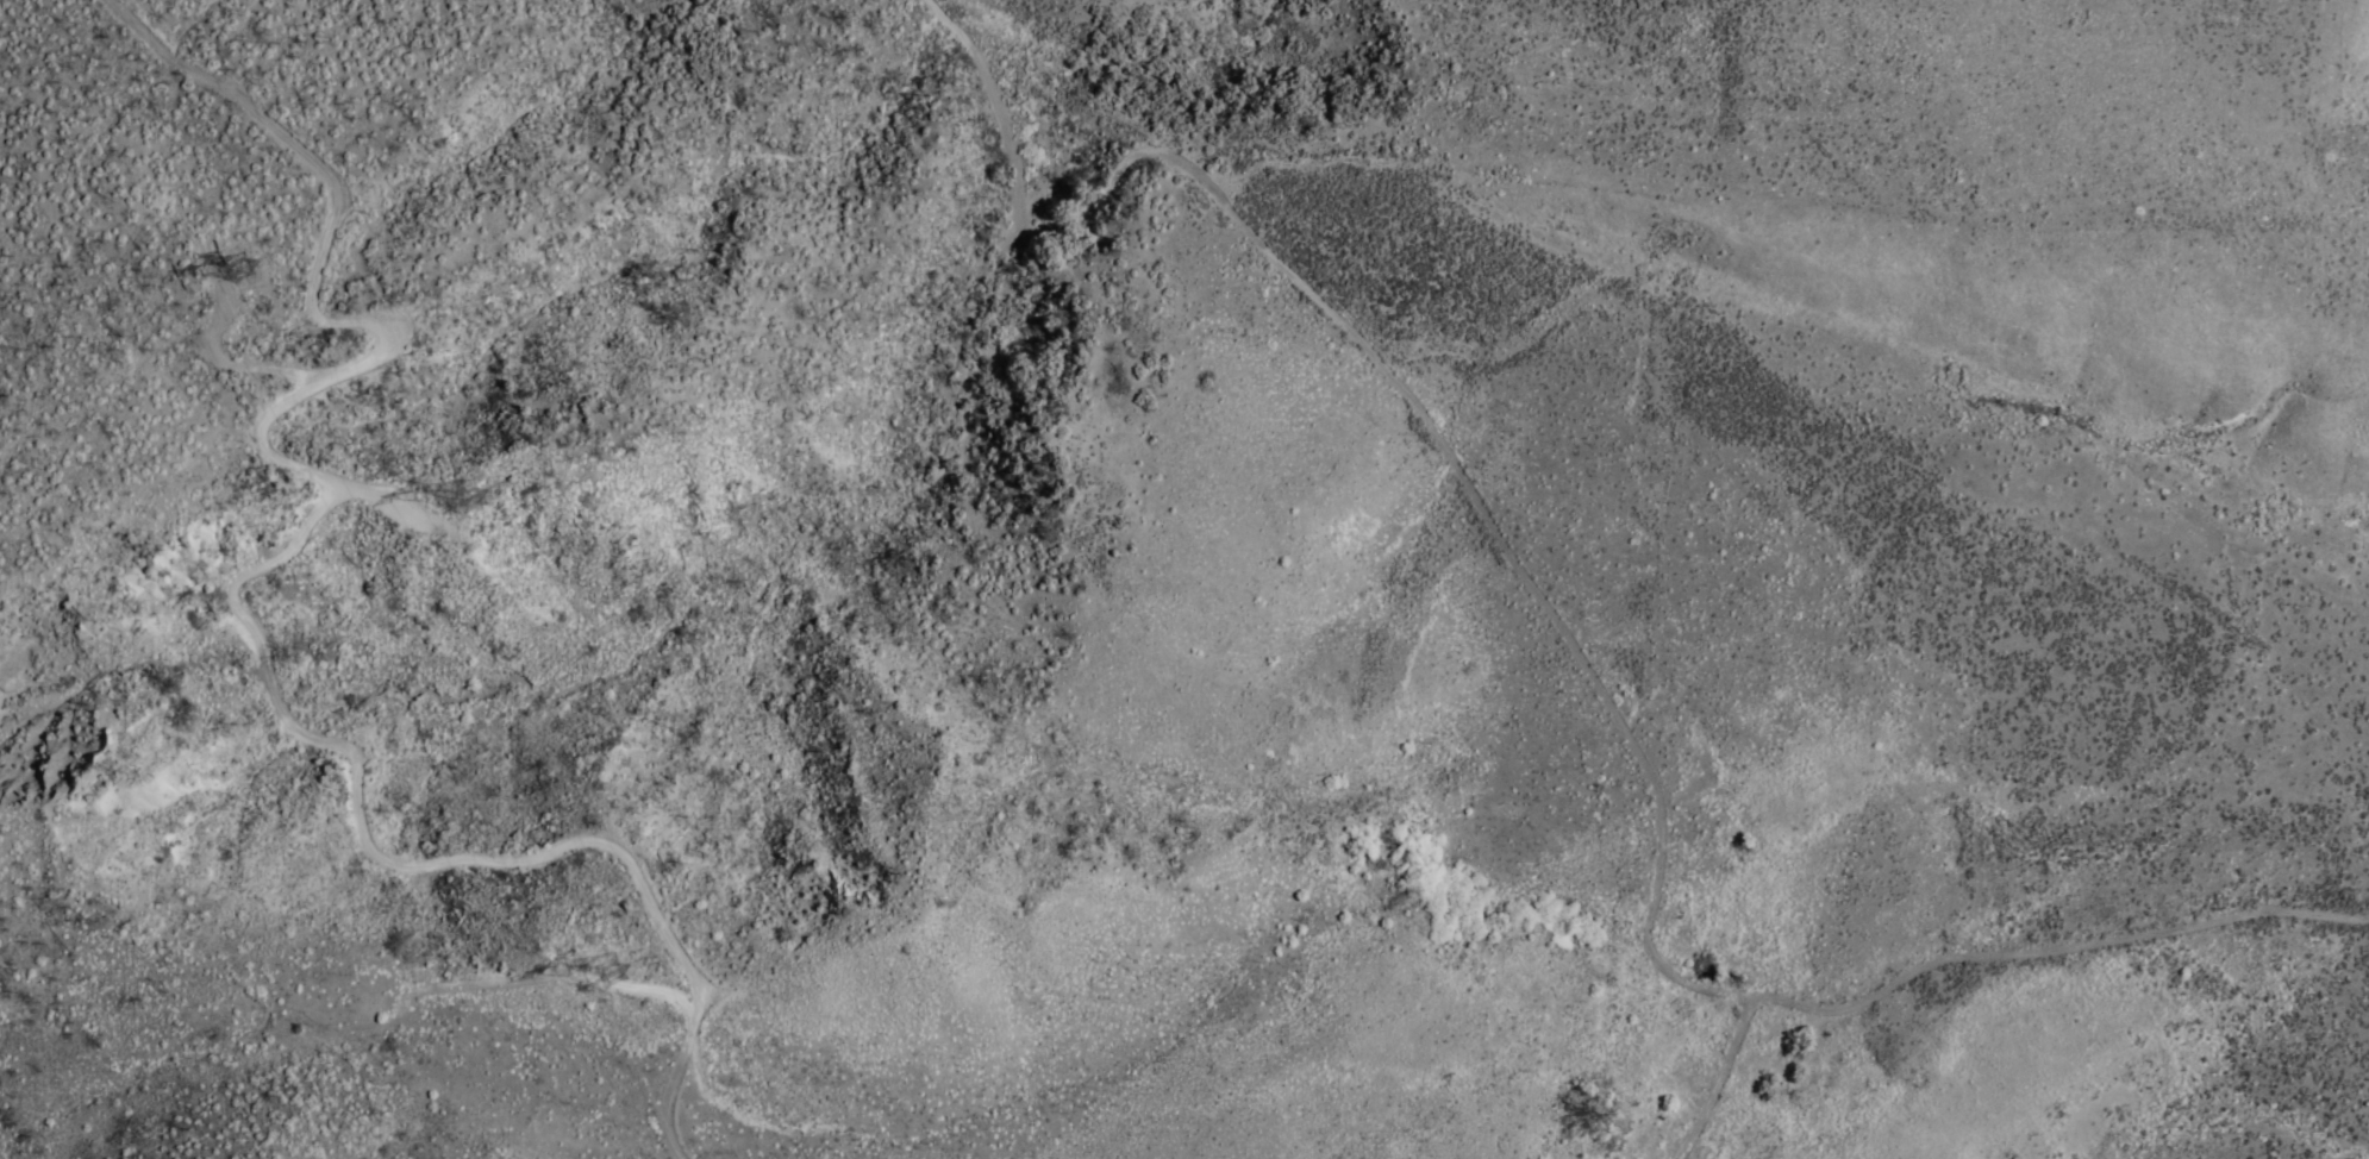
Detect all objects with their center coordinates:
power tower: (244, 274)
road: (1399, 388)
power tower: (450, 478)
road: (232, 589)
road: (1968, 958)
power tower: (598, 970)

